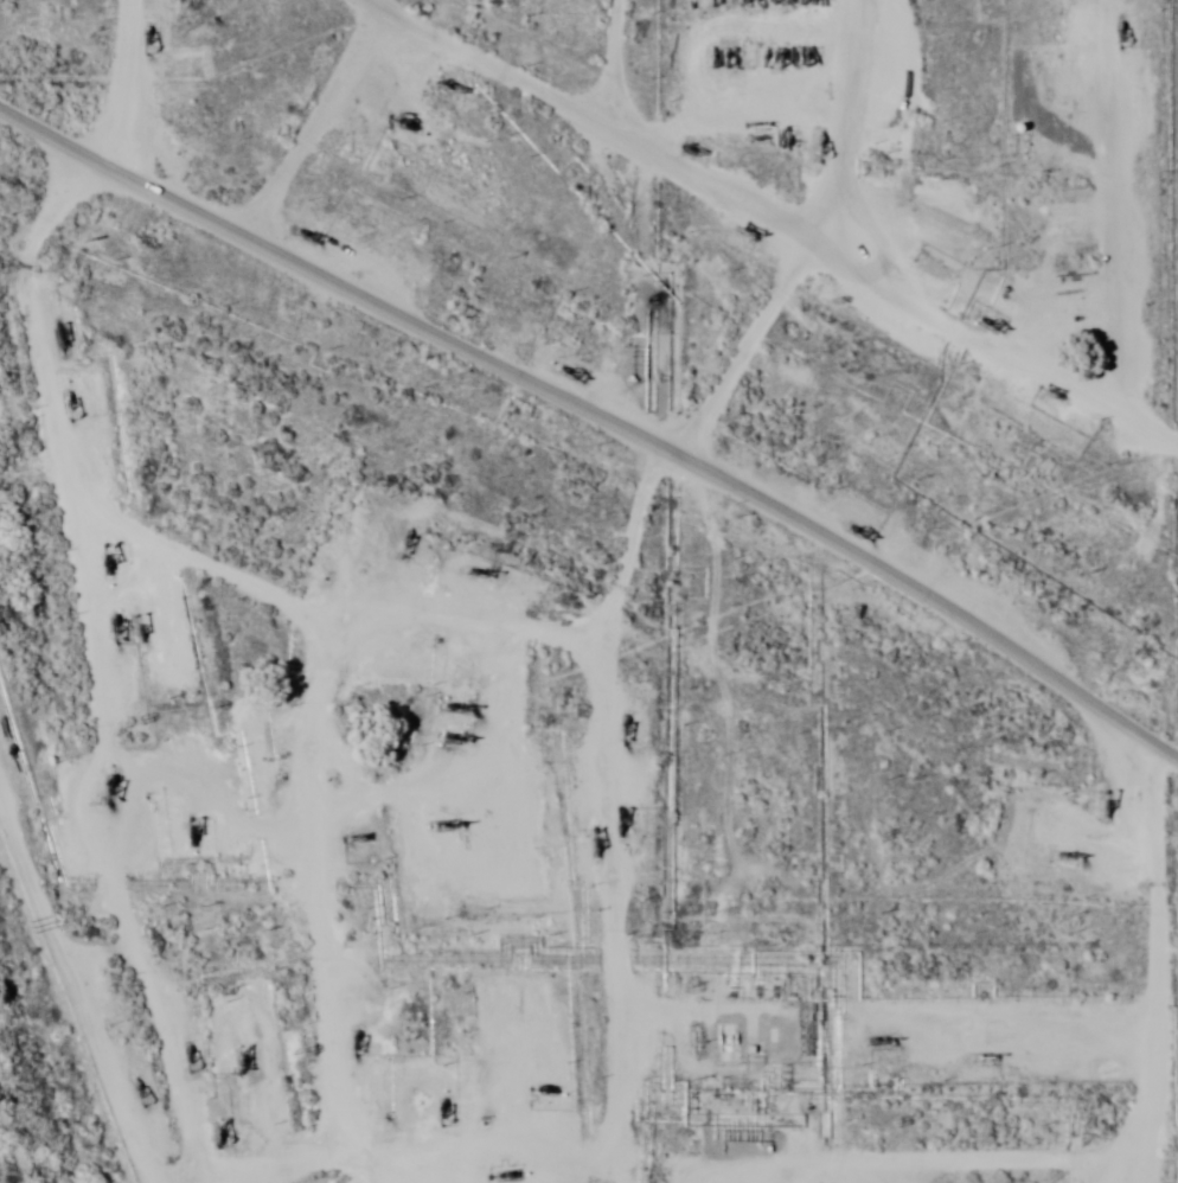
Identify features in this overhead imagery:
road: (90, 83)
road: (405, 89)
road: (292, 113)
road: (799, 234)
road: (726, 257)
road: (340, 275)
road: (1052, 290)
road: (134, 574)
road: (928, 600)
road: (90, 768)
road: (550, 839)
road: (111, 922)
road: (251, 934)
road: (868, 1003)
road: (1119, 1108)

